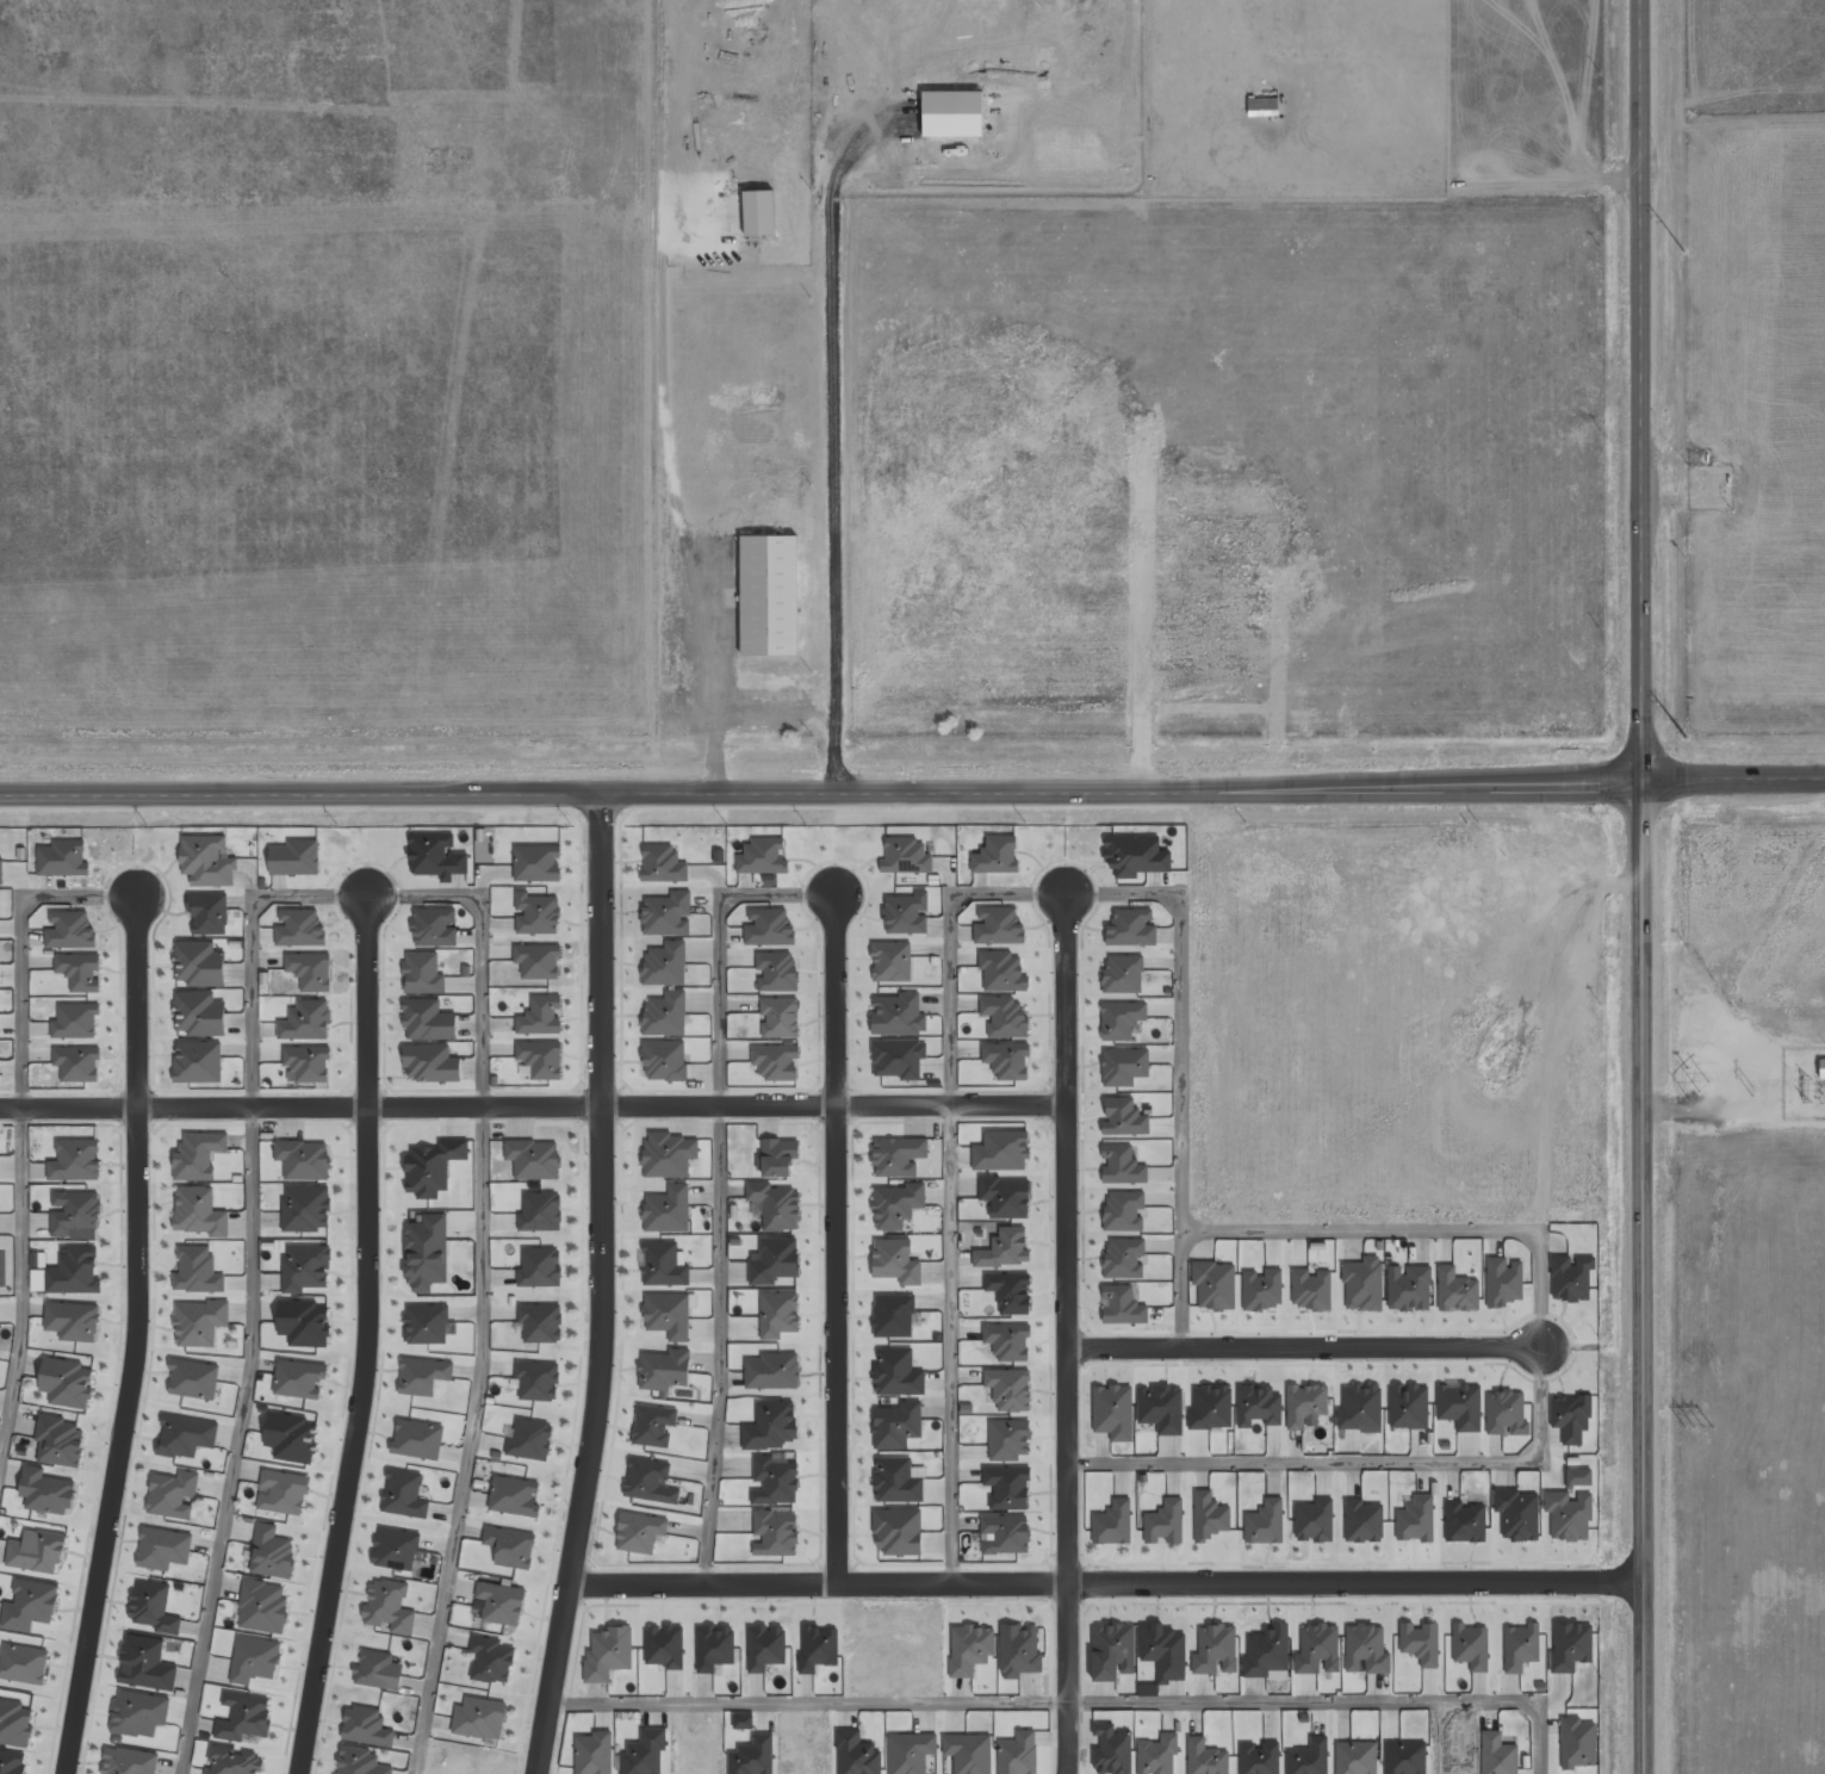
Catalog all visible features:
building: (1262, 107)
power tower: (1684, 250)
road: (1640, 390)
building: (768, 595)
power tower: (1687, 737)
road: (1733, 780)
road: (820, 782)
building: (995, 855)
building: (436, 856)
building: (906, 856)
building: (1136, 856)
building: (762, 857)
building: (63, 858)
building: (294, 858)
building: (207, 861)
building: (536, 863)
building: (663, 864)
building: (0, 869)
building: (1287, 891)
road: (368, 892)
building: (209, 913)
building: (536, 913)
building: (906, 913)
building: (666, 914)
building: (998, 926)
building: (434, 928)
building: (768, 928)
building: (1131, 928)
building: (299, 929)
building: (69, 930)
building: (536, 961)
building: (892, 962)
building: (199, 963)
building: (665, 963)
building: (310, 970)
building: (776, 970)
building: (79, 972)
building: (1002, 972)
building: (422, 973)
building: (1122, 974)
road: (1066, 999)
road: (836, 1000)
building: (199, 1013)
building: (665, 1015)
building: (898, 1015)
building: (540, 1016)
building: (780, 1017)
building: (1005, 1017)
building: (428, 1019)
building: (1121, 1019)
building: (75, 1021)
building: (306, 1021)
building: (898, 1057)
building: (664, 1060)
building: (1006, 1060)
building: (197, 1061)
building: (775, 1061)
building: (308, 1062)
building: (432, 1063)
building: (80, 1065)
building: (1124, 1066)
building: (1821, 1068)
building: (546, 1072)
building: (0, 1075)
power substation: (1805, 1085)
power tower: (1699, 1090)
power tower: (1752, 1090)
road: (300, 1105)
road: (720, 1105)
road: (951, 1106)
building: (1124, 1117)
road: (23, 1129)
building: (1001, 1150)
building: (198, 1155)
building: (669, 1155)
building: (898, 1155)
building: (777, 1156)
building: (303, 1159)
building: (533, 1159)
building: (75, 1160)
building: (1122, 1165)
building: (433, 1167)
building: (1006, 1197)
building: (775, 1205)
building: (896, 1205)
building: (668, 1209)
building: (1124, 1210)
building: (199, 1211)
building: (75, 1212)
building: (540, 1212)
building: (306, 1214)
road: (1067, 1227)
building: (1005, 1248)
building: (426, 1252)
building: (1124, 1258)
building: (774, 1260)
building: (895, 1261)
building: (663, 1265)
building: (304, 1266)
building: (539, 1269)
building: (197, 1271)
building: (74, 1272)
road: (1641, 1277)
building: (1570, 1278)
building: (1503, 1280)
road: (603, 1283)
building: (1362, 1284)
building: (1215, 1285)
building: (1409, 1288)
building: (1310, 1289)
building: (1262, 1290)
building: (1455, 1290)
building: (1010, 1292)
building: (1122, 1305)
building: (777, 1314)
building: (668, 1315)
building: (893, 1315)
building: (73, 1321)
building: (199, 1322)
building: (540, 1322)
building: (304, 1323)
building: (424, 1325)
road: (372, 1335)
road: (139, 1336)
building: (1007, 1341)
road: (838, 1345)
road: (1305, 1346)
building: (664, 1370)
building: (771, 1371)
building: (896, 1372)
building: (422, 1376)
building: (299, 1378)
building: (193, 1379)
building: (536, 1381)
building: (67, 1383)
building: (1010, 1389)
building: (1305, 1404)
building: (1258, 1406)
building: (1459, 1406)
building: (1210, 1407)
building: (1408, 1407)
building: (1161, 1408)
building: (1360, 1408)
building: (1113, 1412)
building: (1506, 1414)
building: (1570, 1418)
building: (653, 1425)
building: (896, 1425)
building: (770, 1426)
building: (186, 1435)
building: (291, 1437)
building: (417, 1439)
building: (1007, 1439)
building: (529, 1440)
building: (58, 1441)
road: (1069, 1465)
building: (775, 1478)
building: (650, 1481)
building: (896, 1481)
building: (1007, 1487)
building: (46, 1491)
building: (283, 1491)
building: (172, 1494)
building: (403, 1494)
building: (514, 1496)
building: (1517, 1514)
building: (1568, 1515)
building: (1209, 1516)
building: (1315, 1520)
building: (1415, 1520)
building: (1362, 1521)
building: (1165, 1522)
building: (1265, 1522)
building: (1464, 1522)
building: (1112, 1524)
building: (898, 1531)
building: (639, 1532)
building: (774, 1532)
building: (1005, 1534)
building: (510, 1546)
building: (163, 1549)
building: (395, 1549)
building: (37, 1551)
building: (271, 1552)
road: (1355, 1581)
road: (955, 1583)
road: (706, 1584)
building: (501, 1604)
building: (30, 1605)
building: (153, 1607)
building: (262, 1607)
building: (389, 1608)
building: (1420, 1642)
building: (1570, 1645)
building: (664, 1646)
building: (714, 1646)
building: (765, 1646)
building: (1470, 1646)
building: (1520, 1646)
building: (818, 1649)
building: (969, 1649)
building: (1317, 1649)
building: (1366, 1649)
building: (1216, 1650)
building: (1019, 1651)
building: (1112, 1651)
building: (1163, 1651)
building: (1266, 1651)
building: (608, 1654)
building: (254, 1660)
building: (491, 1660)
building: (24, 1663)
building: (145, 1663)
building: (378, 1670)
road: (1070, 1679)
building: (139, 1713)
building: (243, 1717)
building: (474, 1717)
building: (743, 1720)
building: (14, 1723)
building: (366, 1726)
building: (1577, 1743)
building: (1112, 1750)
building: (592, 1753)
building: (644, 1753)
building: (910, 1753)
building: (968, 1753)
building: (856, 1754)
building: (1018, 1754)
building: (1497, 1754)
building: (1157, 1755)
building: (752, 1756)
building: (1205, 1757)
building: (1259, 1757)
building: (1309, 1757)
building: (1355, 1757)
building: (1404, 1757)
building: (130, 1761)
building: (231, 1761)
building: (359, 1761)
building: (13, 1762)

